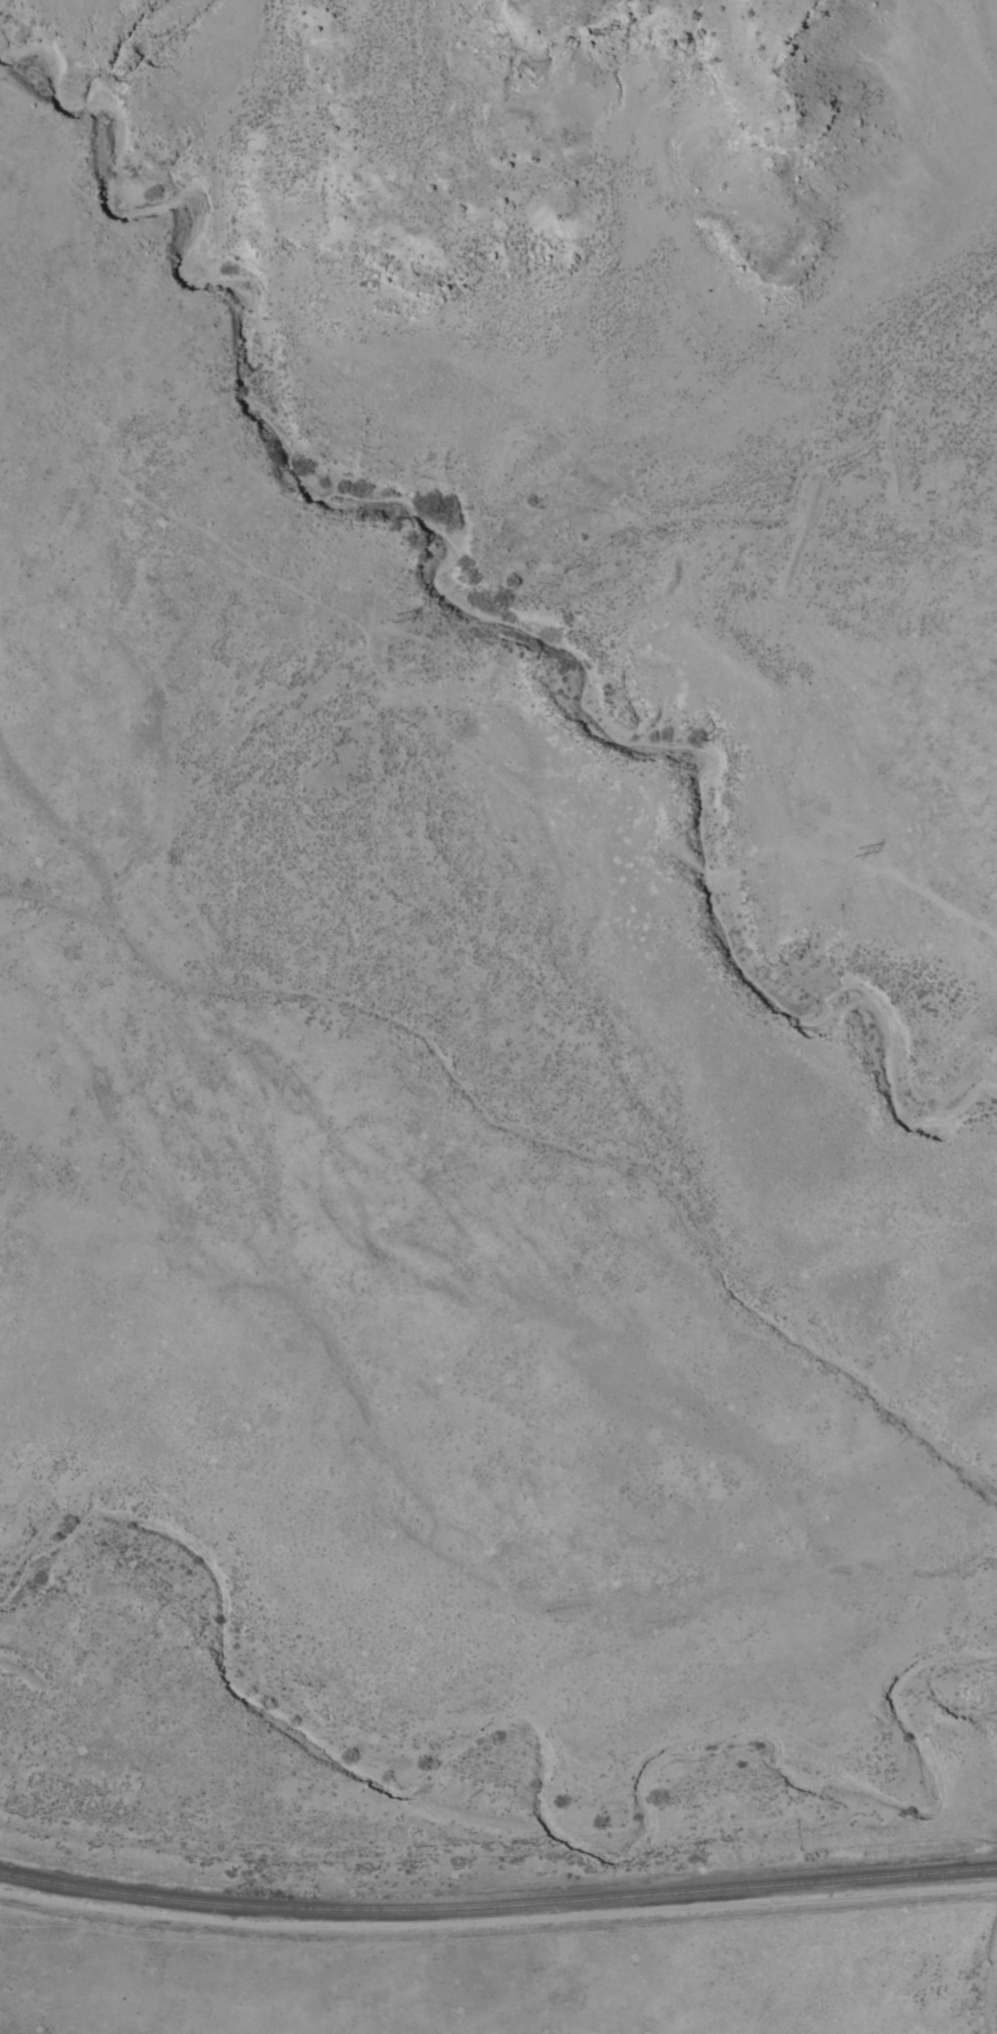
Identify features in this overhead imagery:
railway: (498, 1908)

